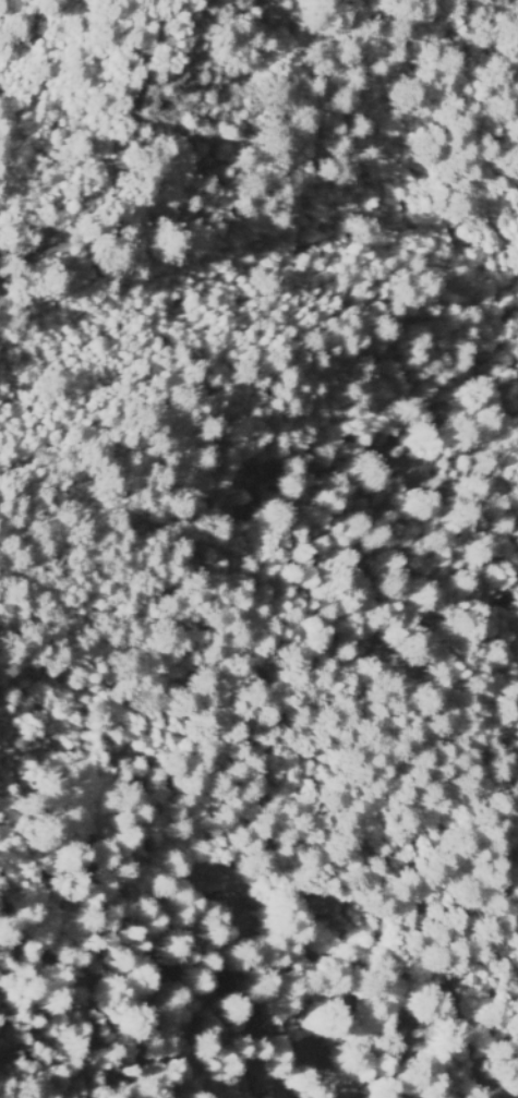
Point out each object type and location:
building: (330, 905)
road: (387, 1037)
building: (276, 1075)

